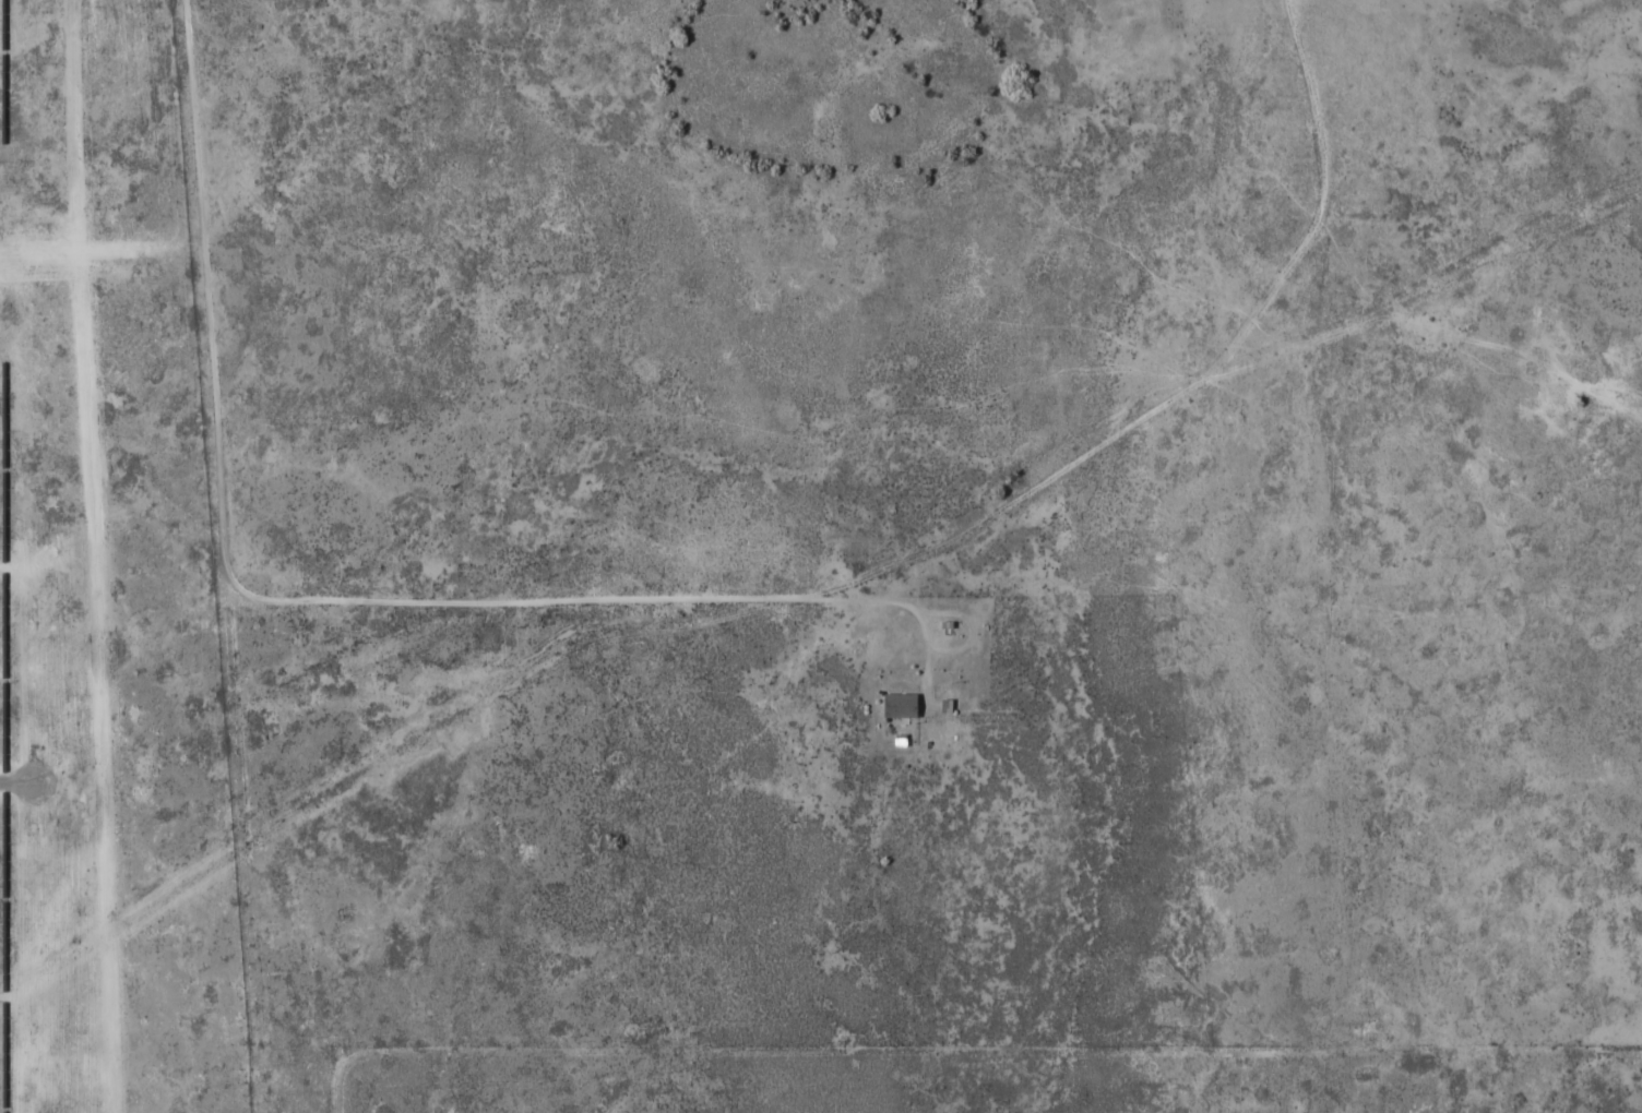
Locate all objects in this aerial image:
road: (1371, 203)
solar farm: (31, 541)
road: (297, 589)
road: (808, 605)
building: (900, 705)

